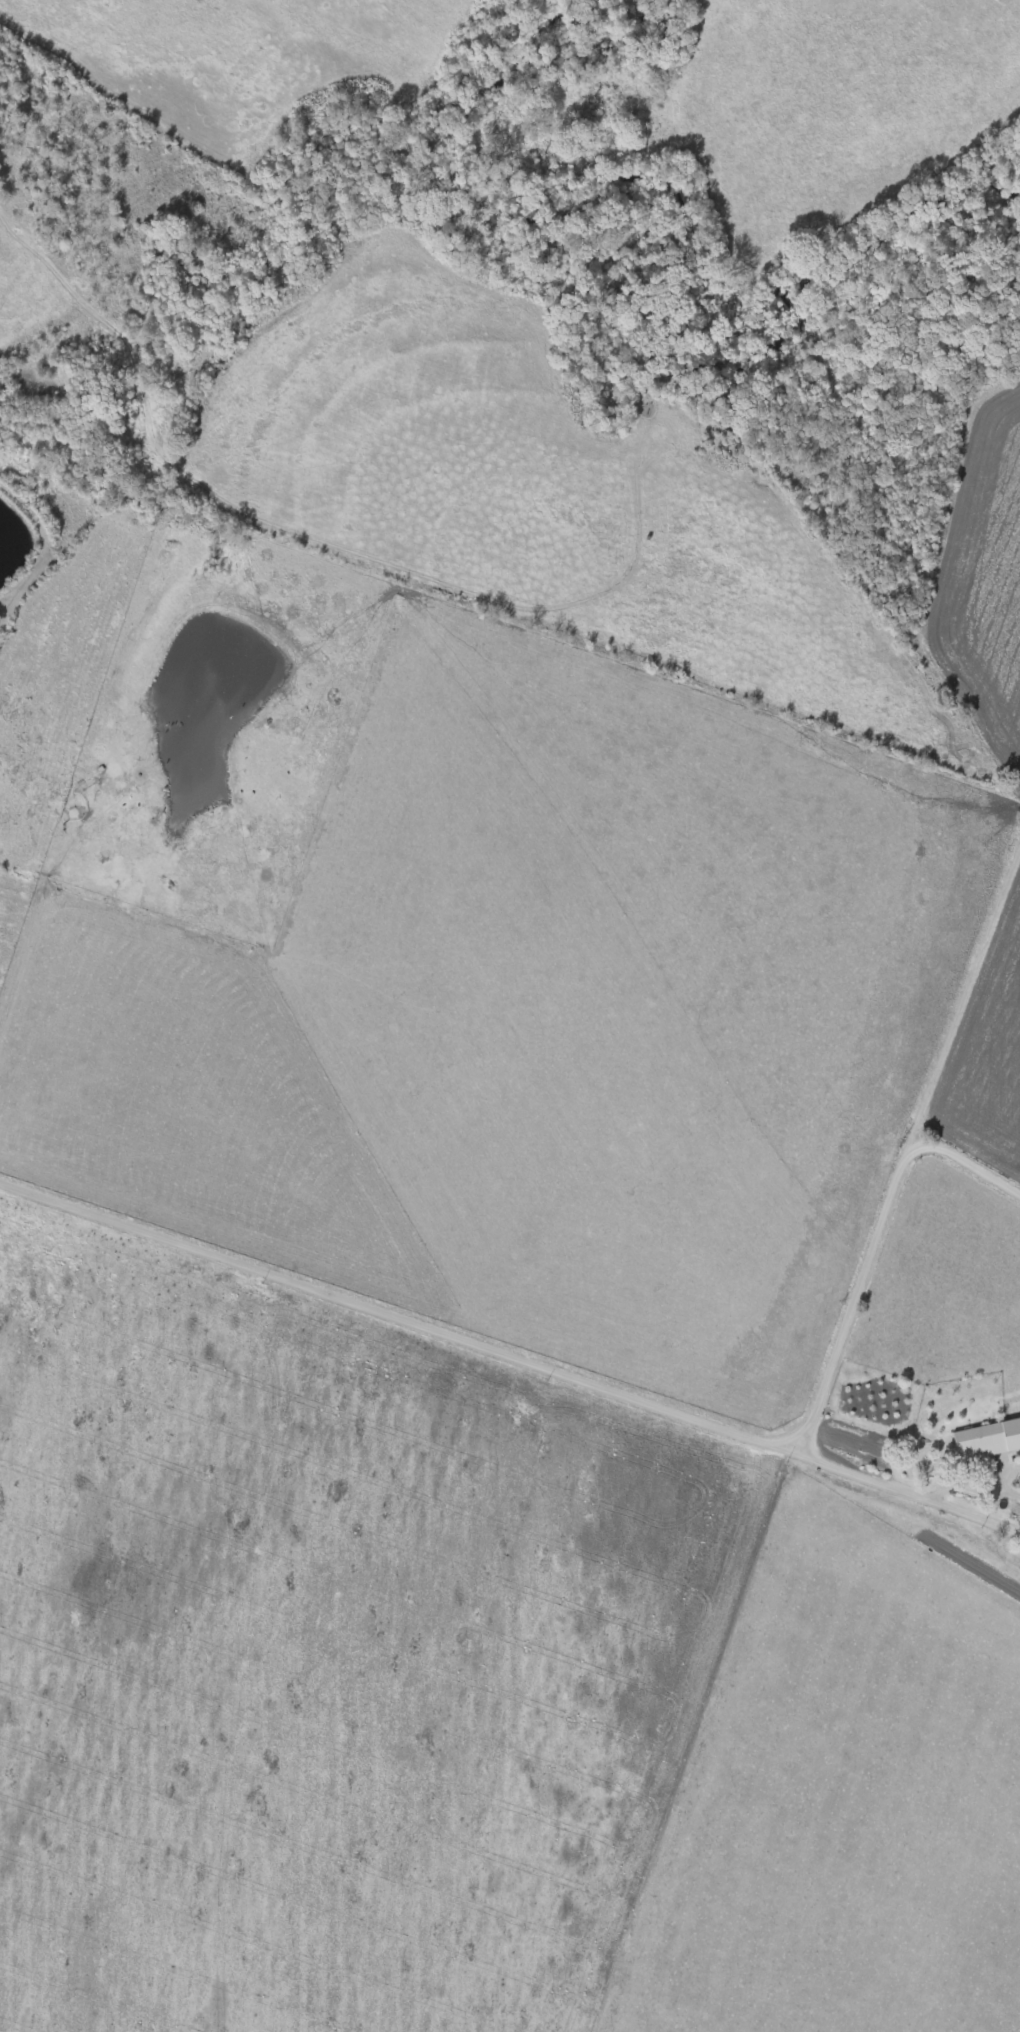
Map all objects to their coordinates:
road: (612, 1387)

